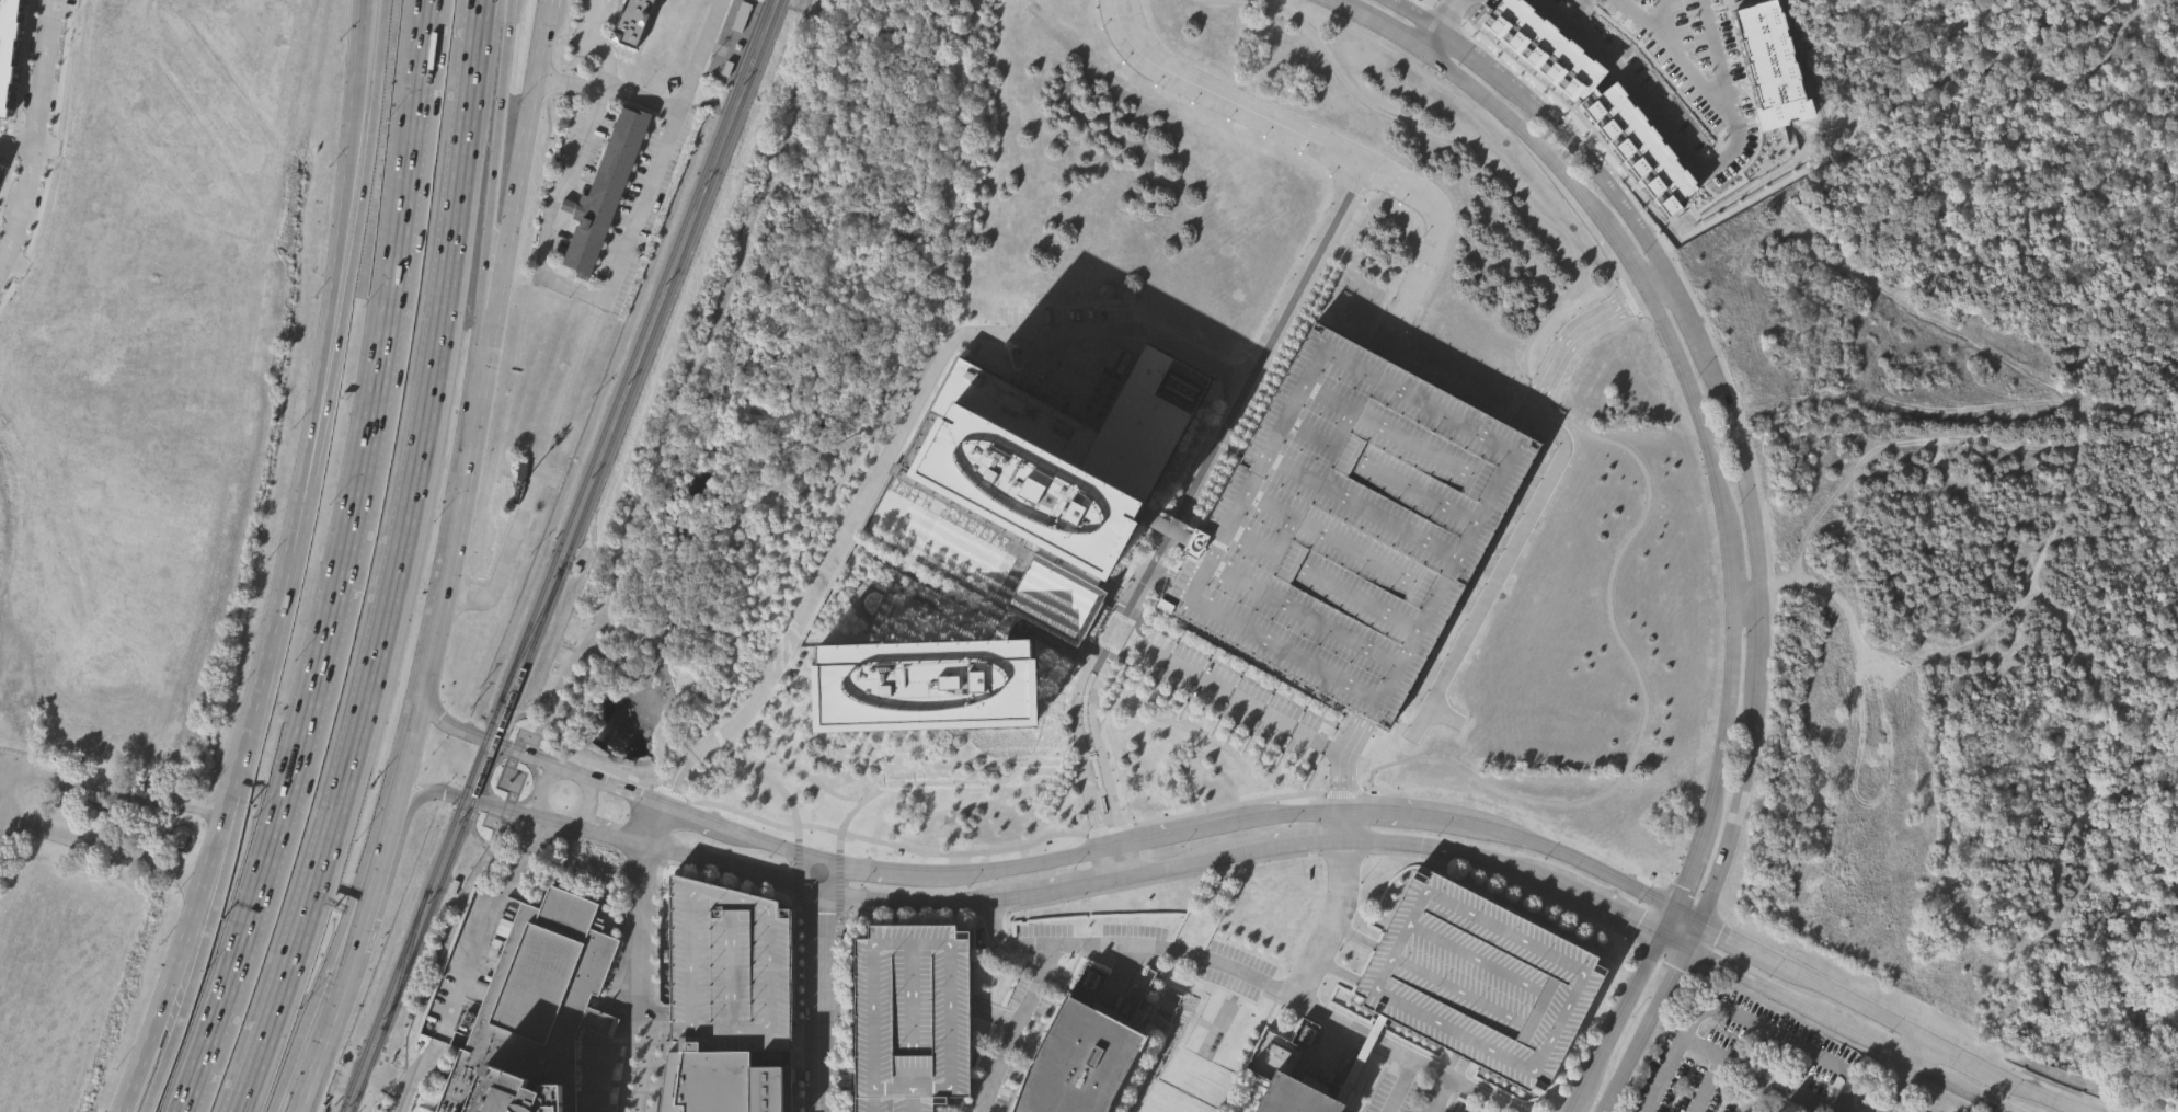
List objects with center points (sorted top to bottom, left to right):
parking lot: (1558, 0)
parking lot: (1653, 7)
road: (1559, 9)
road: (507, 10)
road: (1413, 11)
road: (1440, 11)
road: (359, 12)
building: (742, 18)
road: (1986, 19)
building: (633, 21)
road: (1671, 23)
road: (1425, 36)
parking lot: (1701, 36)
road: (595, 44)
building: (7, 45)
road: (1992, 45)
road: (1470, 51)
road: (379, 55)
road: (1726, 56)
parking lot: (1735, 56)
parking lot: (1667, 57)
building: (1770, 62)
park: (2030, 69)
parking lot: (1644, 76)
road: (2083, 81)
road: (1930, 89)
road: (469, 98)
building: (1593, 100)
road: (497, 122)
road: (33, 134)
road: (16, 139)
road: (1334, 151)
road: (1715, 164)
road: (1592, 167)
building: (605, 188)
road: (951, 226)
road: (489, 277)
road: (329, 288)
road: (593, 293)
road: (1690, 312)
road: (1947, 328)
road: (340, 332)
road: (1572, 332)
road: (1877, 349)
park: (786, 359)
road: (1688, 395)
road: (1898, 403)
road: (663, 440)
road: (852, 442)
road: (1878, 447)
road: (893, 448)
building: (1053, 463)
building: (523, 472)
road: (1745, 473)
road: (1177, 513)
building: (1351, 523)
parking garage: (1351, 523)
road: (731, 535)
road: (502, 551)
railway: (554, 555)
railway: (566, 555)
road: (449, 562)
road: (2040, 562)
road: (1501, 563)
road: (342, 564)
road: (1744, 593)
building: (1054, 603)
road: (1844, 617)
building: (1005, 627)
road: (626, 633)
railway: (529, 634)
road: (666, 637)
road: (1758, 639)
road: (599, 641)
road: (1962, 647)
road: (265, 653)
road: (374, 660)
road: (1065, 677)
building: (922, 685)
road: (1228, 691)
road: (718, 737)
road: (493, 741)
road: (561, 769)
road: (1340, 775)
road: (810, 777)
street lamp: (526, 782)
road: (621, 789)
road: (108, 793)
road: (1598, 794)
road: (457, 795)
road: (7, 798)
road: (1739, 809)
road: (1296, 811)
road: (1407, 813)
street lamp: (624, 814)
road: (534, 816)
road: (698, 817)
road: (655, 824)
street lamp: (1286, 824)
road: (576, 829)
road: (523, 830)
road: (543, 832)
road: (1181, 832)
street lamp: (1435, 835)
road: (557, 837)
road: (620, 839)
road: (1285, 842)
road: (776, 844)
street lamp: (1180, 846)
road: (100, 847)
road: (1342, 851)
road: (1461, 851)
street lamp: (767, 856)
street lamp: (1543, 857)
road: (1574, 859)
road: (642, 861)
road: (1027, 863)
street lamp: (1071, 865)
road: (1173, 865)
road: (795, 867)
road: (486, 870)
road: (880, 870)
road: (505, 880)
street lamp: (859, 883)
road: (836, 884)
street lamp: (966, 886)
road: (1063, 887)
road: (825, 891)
street lamp: (1636, 901)
road: (908, 913)
road: (1616, 913)
road: (1591, 916)
road: (1684, 916)
road: (838, 922)
road: (205, 931)
road: (183, 935)
road: (1689, 935)
road: (477, 938)
road: (1671, 940)
road: (1738, 944)
building: (1848, 944)
road: (333, 951)
road: (1127, 954)
railway: (404, 959)
road: (1116, 970)
building: (727, 973)
parking garage: (727, 973)
road: (432, 974)
street lamp: (1766, 975)
road: (641, 977)
road: (1256, 977)
building: (1478, 977)
parking garage: (1478, 977)
road: (1036, 982)
road: (1208, 982)
building: (547, 985)
road: (818, 985)
road: (1763, 986)
road: (1661, 988)
road: (1276, 994)
road: (1767, 1001)
road: (1847, 1001)
road: (795, 1002)
road: (839, 1007)
road: (993, 1012)
building: (909, 1014)
parking garage: (909, 1014)
road: (1045, 1016)
road: (1613, 1022)
road: (654, 1024)
road: (1167, 1030)
street lamp: (1888, 1030)
road: (1256, 1035)
road: (1778, 1035)
road: (1681, 1039)
road: (1873, 1042)
road: (1910, 1047)
building: (1077, 1054)
road: (1955, 1056)
road: (1399, 1057)
parking lot: (1738, 1059)
road: (1446, 1064)
building: (2176, 1069)
road: (1459, 1071)
road: (1618, 1071)
road: (2031, 1073)
building: (724, 1084)
road: (1705, 1085)
road: (1775, 1086)
road: (1958, 1086)
road: (2061, 1086)
road: (1899, 1087)
building: (504, 1088)
road: (978, 1088)
road: (1399, 1088)
road: (1227, 1090)
road: (1437, 1094)
road: (2039, 1094)
building: (1295, 1096)
parking lot: (1409, 1096)
road: (2104, 1099)
road: (275, 1100)
road: (146, 1108)
road: (1216, 1110)
road: (1430, 1110)
road: (1434, 1110)
road: (1558, 1111)

